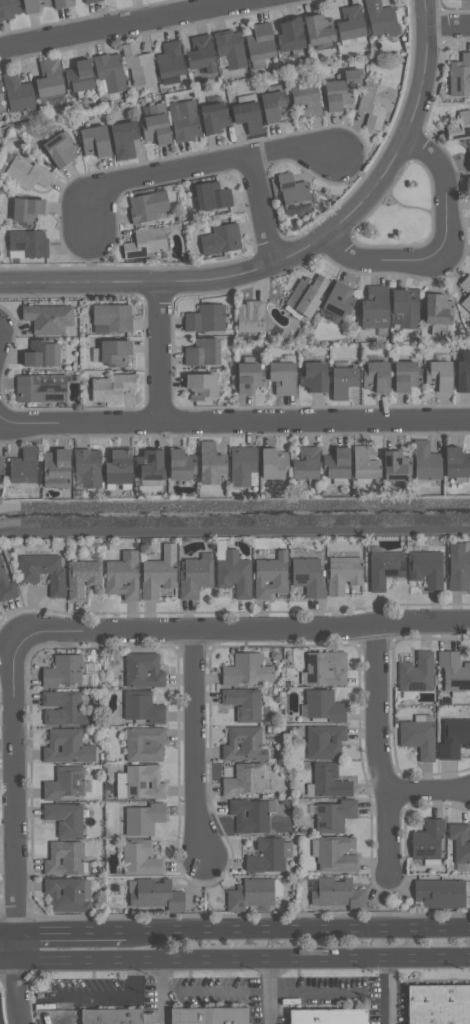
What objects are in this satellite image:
building: (92, 1)
building: (63, 3)
building: (34, 5)
building: (8, 9)
building: (380, 18)
building: (350, 22)
road: (448, 24)
road: (128, 27)
building: (318, 29)
building: (289, 35)
building: (260, 41)
building: (229, 48)
building: (200, 53)
building: (170, 60)
building: (137, 65)
building: (109, 72)
building: (79, 75)
building: (460, 75)
building: (48, 78)
building: (340, 90)
building: (17, 93)
building: (1, 95)
building: (306, 99)
building: (375, 102)
building: (274, 106)
building: (0, 110)
building: (214, 116)
building: (248, 116)
building: (183, 120)
building: (156, 124)
building: (459, 127)
building: (123, 138)
building: (95, 140)
building: (60, 148)
building: (468, 155)
road: (196, 166)
building: (27, 174)
building: (467, 187)
road: (445, 190)
building: (292, 192)
building: (211, 195)
building: (146, 206)
road: (263, 209)
building: (26, 210)
building: (221, 239)
building: (28, 242)
building: (145, 242)
road: (296, 251)
road: (379, 263)
building: (466, 291)
building: (305, 294)
building: (337, 300)
building: (374, 307)
building: (404, 308)
building: (437, 309)
building: (112, 316)
building: (250, 316)
building: (48, 317)
building: (205, 318)
building: (115, 352)
building: (201, 352)
building: (41, 353)
road: (159, 353)
building: (463, 372)
building: (405, 375)
building: (313, 376)
building: (438, 376)
building: (248, 377)
building: (282, 377)
building: (375, 377)
building: (342, 382)
building: (200, 386)
building: (110, 387)
building: (38, 390)
road: (235, 421)
building: (0, 458)
building: (425, 461)
building: (456, 462)
building: (210, 463)
building: (272, 463)
building: (336, 463)
building: (364, 463)
building: (149, 464)
building: (181, 464)
building: (305, 464)
building: (23, 465)
building: (242, 465)
building: (395, 466)
building: (88, 467)
building: (118, 467)
building: (56, 468)
building: (459, 567)
building: (384, 568)
building: (426, 568)
building: (42, 572)
building: (158, 572)
building: (233, 574)
building: (343, 574)
building: (270, 575)
building: (122, 576)
building: (194, 576)
building: (307, 576)
building: (82, 577)
building: (6, 586)
road: (244, 631)
building: (325, 668)
building: (246, 669)
building: (63, 670)
building: (142, 670)
building: (454, 672)
building: (416, 673)
building: (243, 704)
building: (323, 706)
building: (141, 707)
building: (64, 709)
building: (417, 737)
building: (453, 738)
building: (324, 741)
building: (144, 744)
building: (243, 744)
road: (195, 745)
building: (66, 747)
road: (379, 750)
building: (242, 780)
building: (328, 781)
building: (143, 782)
building: (64, 783)
road: (428, 791)
road: (13, 793)
building: (249, 816)
building: (333, 816)
building: (64, 818)
building: (142, 819)
building: (426, 840)
building: (460, 841)
building: (335, 853)
building: (266, 856)
building: (64, 858)
building: (139, 858)
building: (438, 893)
building: (156, 894)
building: (250, 894)
building: (337, 894)
building: (65, 895)
road: (298, 927)
road: (71, 930)
road: (8, 931)
road: (243, 957)
road: (8, 960)
road: (17, 986)
road: (269, 990)
road: (386, 990)
road: (160, 991)
road: (215, 992)
building: (439, 1004)
building: (111, 1015)
building: (211, 1016)
building: (330, 1016)

